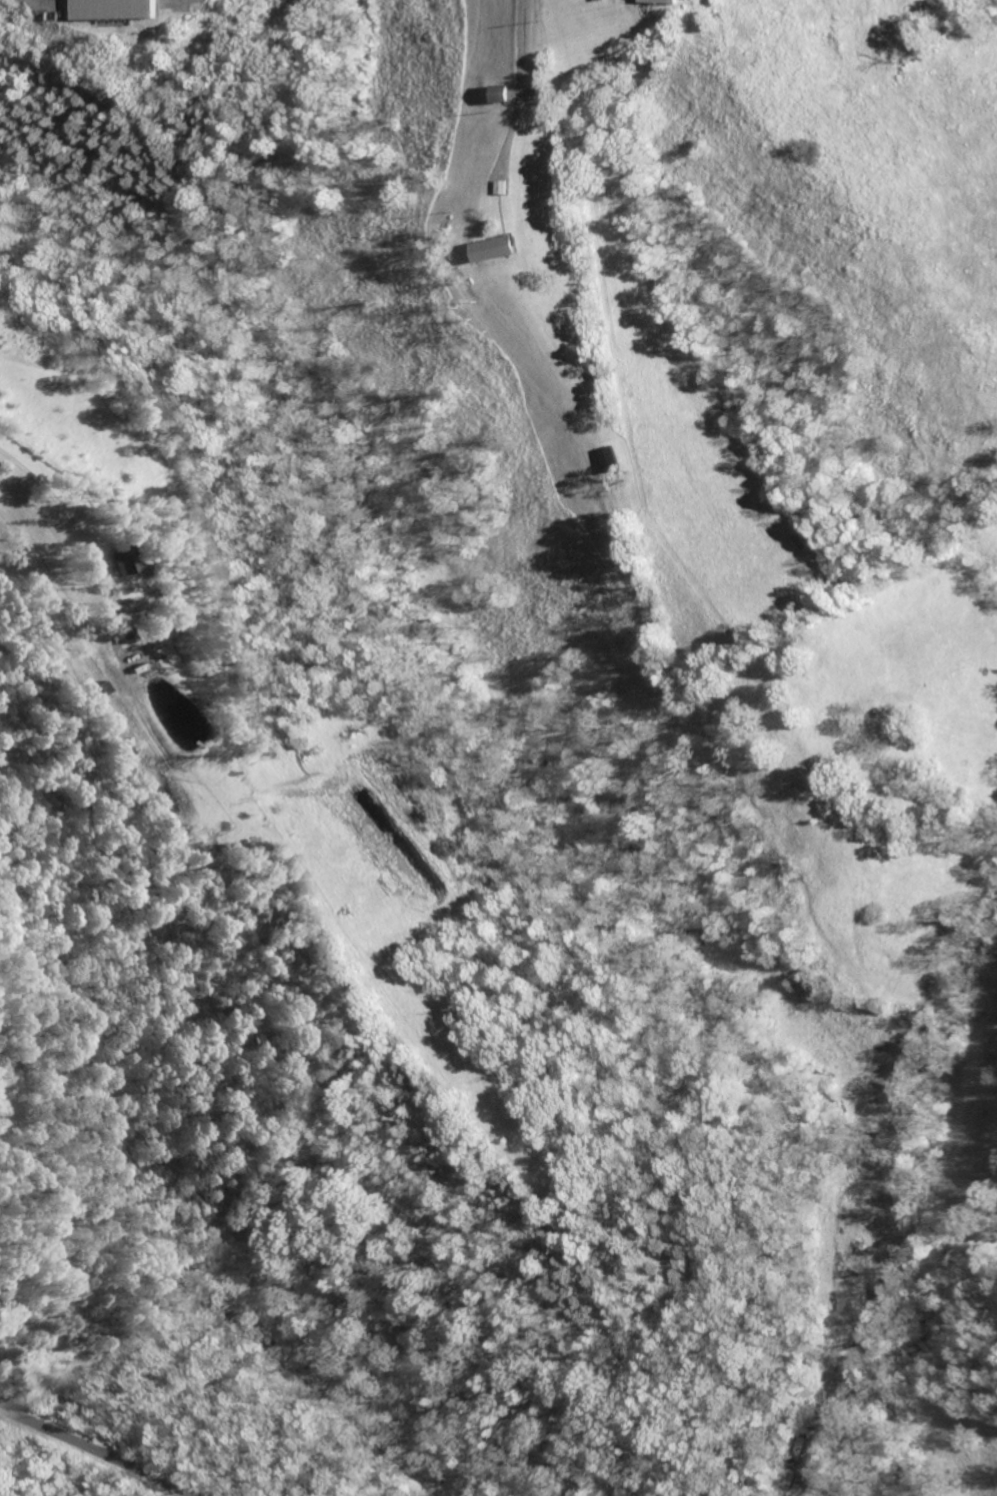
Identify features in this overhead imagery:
building: (665, 2)
building: (117, 9)
road: (520, 88)
building: (500, 94)
building: (497, 249)
building: (616, 459)
road: (59, 516)
building: (109, 564)
building: (116, 647)
road: (348, 1418)
road: (99, 1449)

